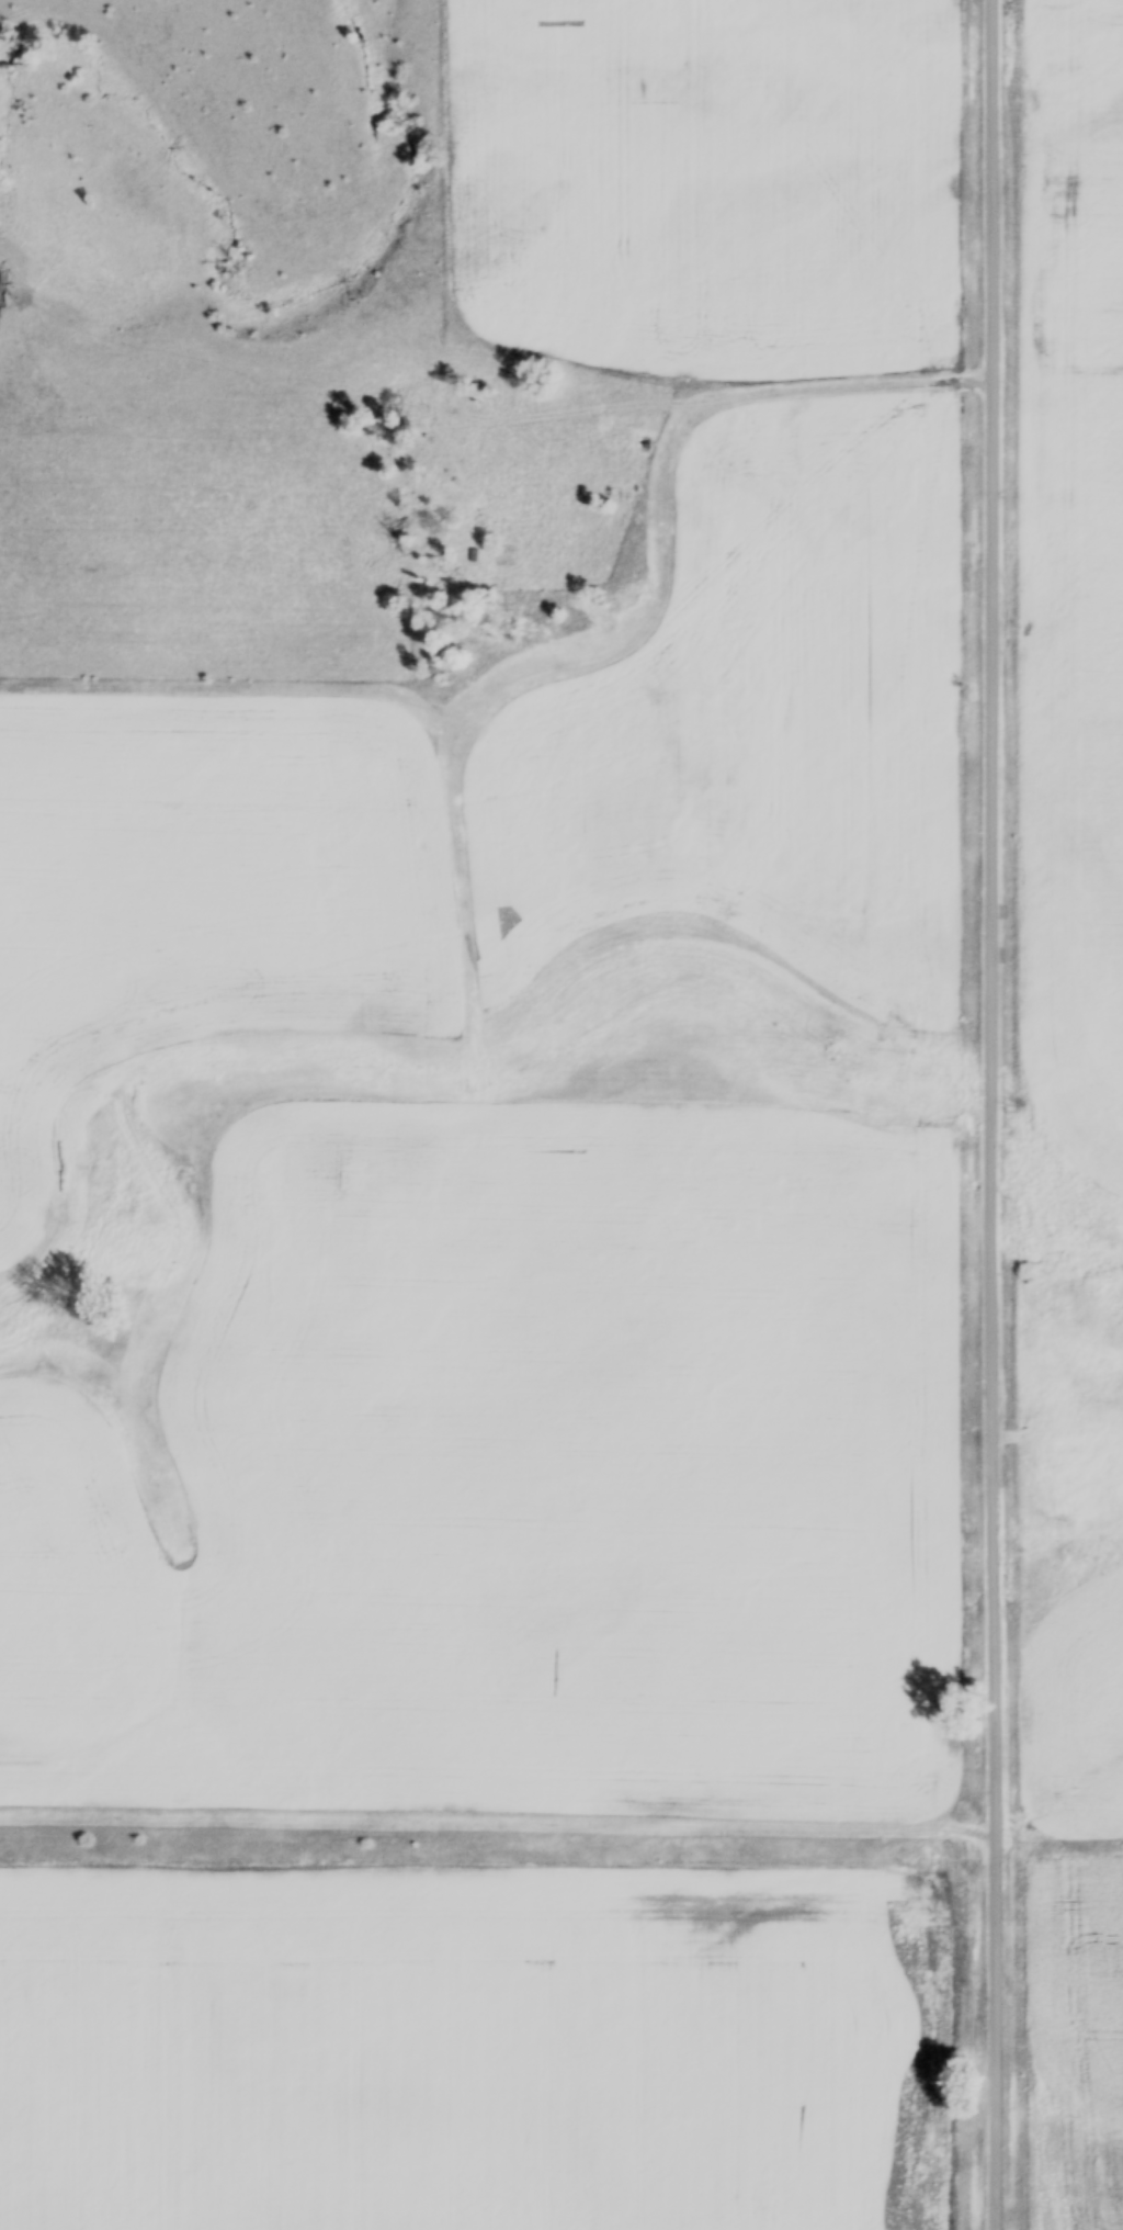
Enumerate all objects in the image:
road: (988, 1115)

